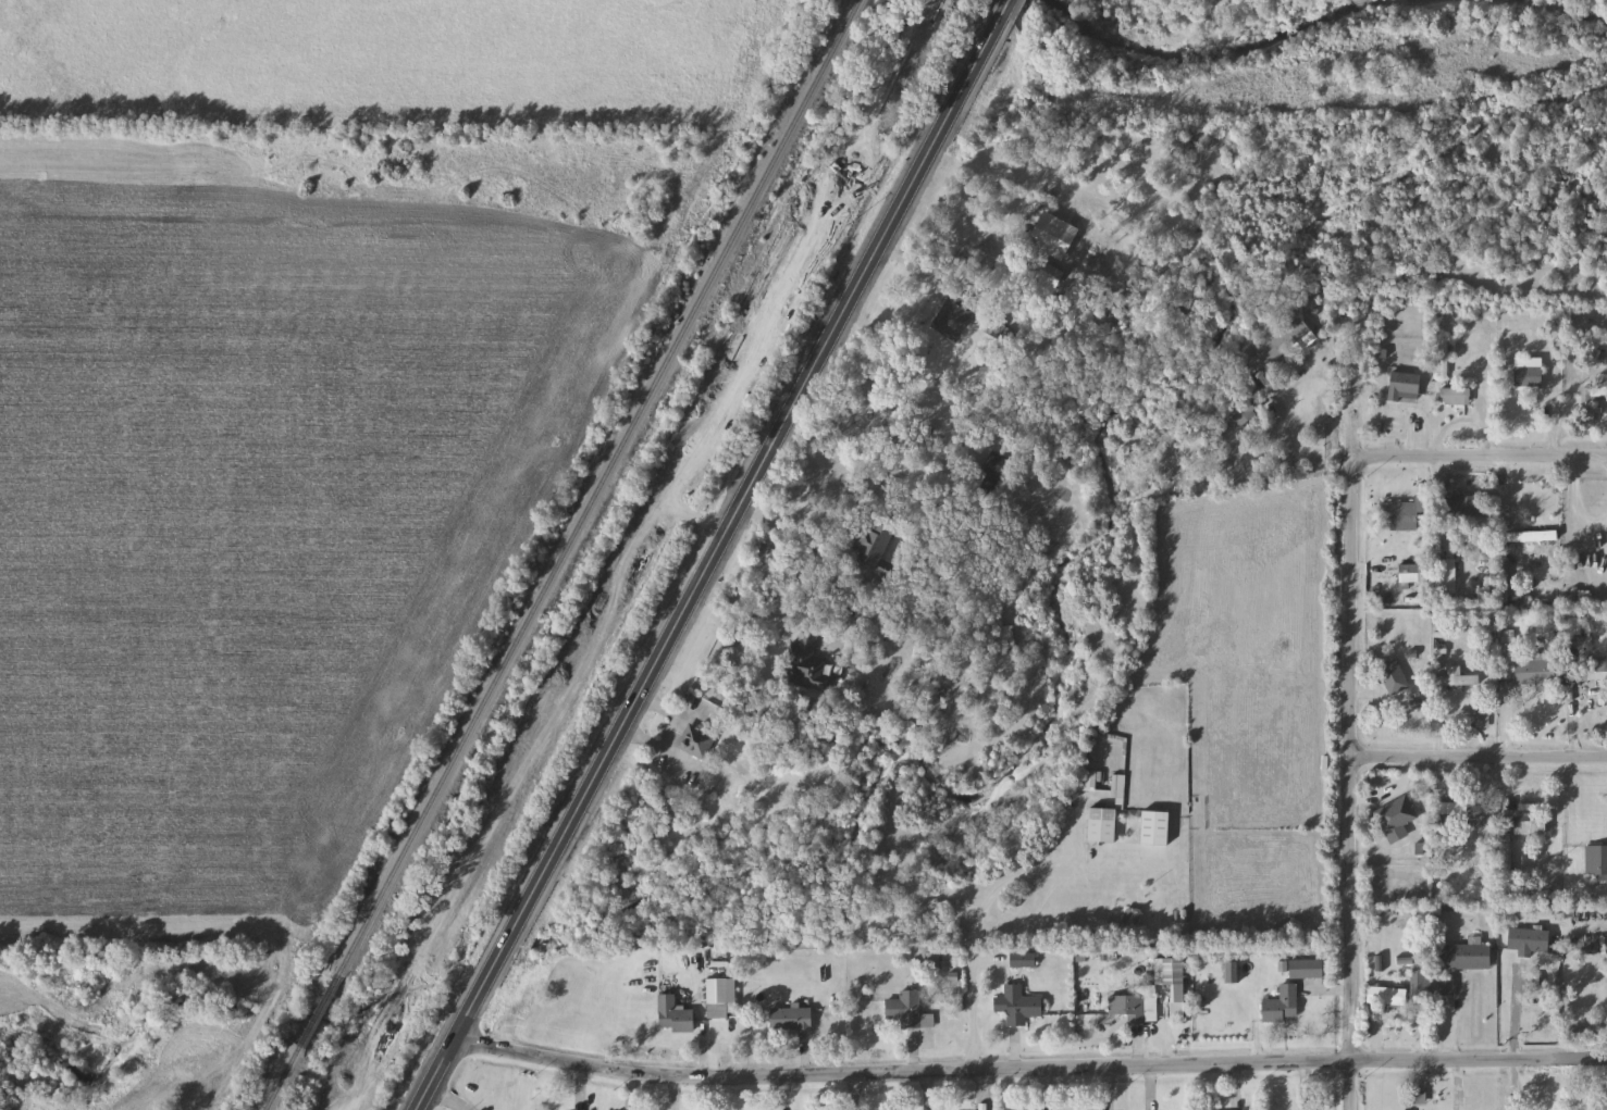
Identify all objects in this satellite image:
road: (1004, 7)
road: (954, 103)
building: (952, 320)
building: (1286, 340)
building: (1443, 358)
building: (1596, 376)
building: (1528, 377)
building: (1405, 386)
building: (1456, 397)
building: (1227, 425)
road: (1298, 445)
road: (865, 449)
road: (1479, 454)
building: (1469, 507)
building: (1401, 516)
building: (875, 547)
railway: (565, 554)
railway: (633, 556)
building: (1412, 573)
building: (1446, 576)
road: (763, 611)
building: (872, 623)
building: (1008, 637)
road: (660, 651)
building: (806, 661)
building: (1521, 663)
building: (1591, 669)
building: (1393, 677)
building: (1457, 679)
road: (1504, 723)
road: (1571, 723)
building: (697, 741)
road: (1478, 756)
building: (1087, 781)
road: (1348, 782)
building: (1402, 813)
building: (1108, 814)
building: (1525, 819)
road: (1383, 849)
building: (1596, 862)
building: (1133, 918)
building: (1529, 940)
building: (1469, 957)
building: (1307, 969)
building: (1172, 976)
building: (1419, 984)
building: (1446, 988)
building: (1387, 997)
building: (717, 998)
building: (1017, 1006)
building: (1283, 1006)
building: (1134, 1008)
building: (906, 1009)
road: (972, 1013)
building: (675, 1017)
building: (792, 1019)
road: (701, 1040)
road: (1027, 1067)
road: (443, 1098)

